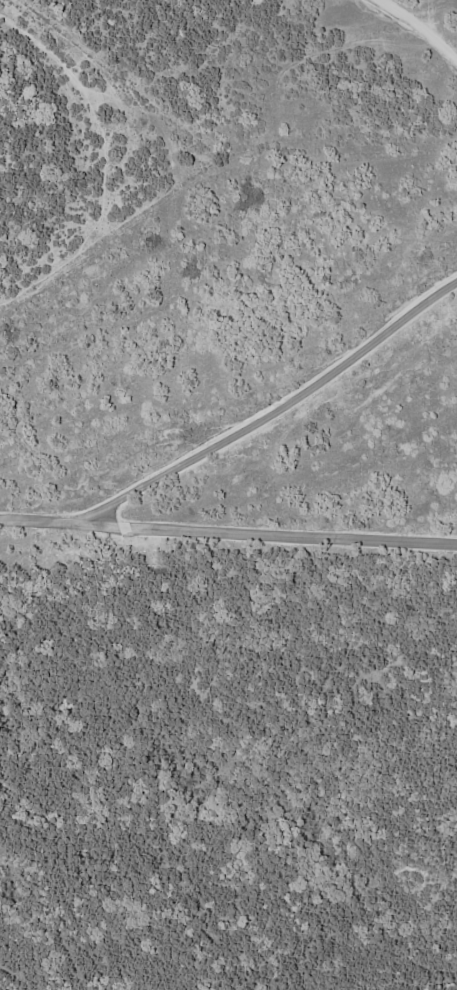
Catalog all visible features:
road: (418, 27)
road: (240, 433)
road: (272, 533)

